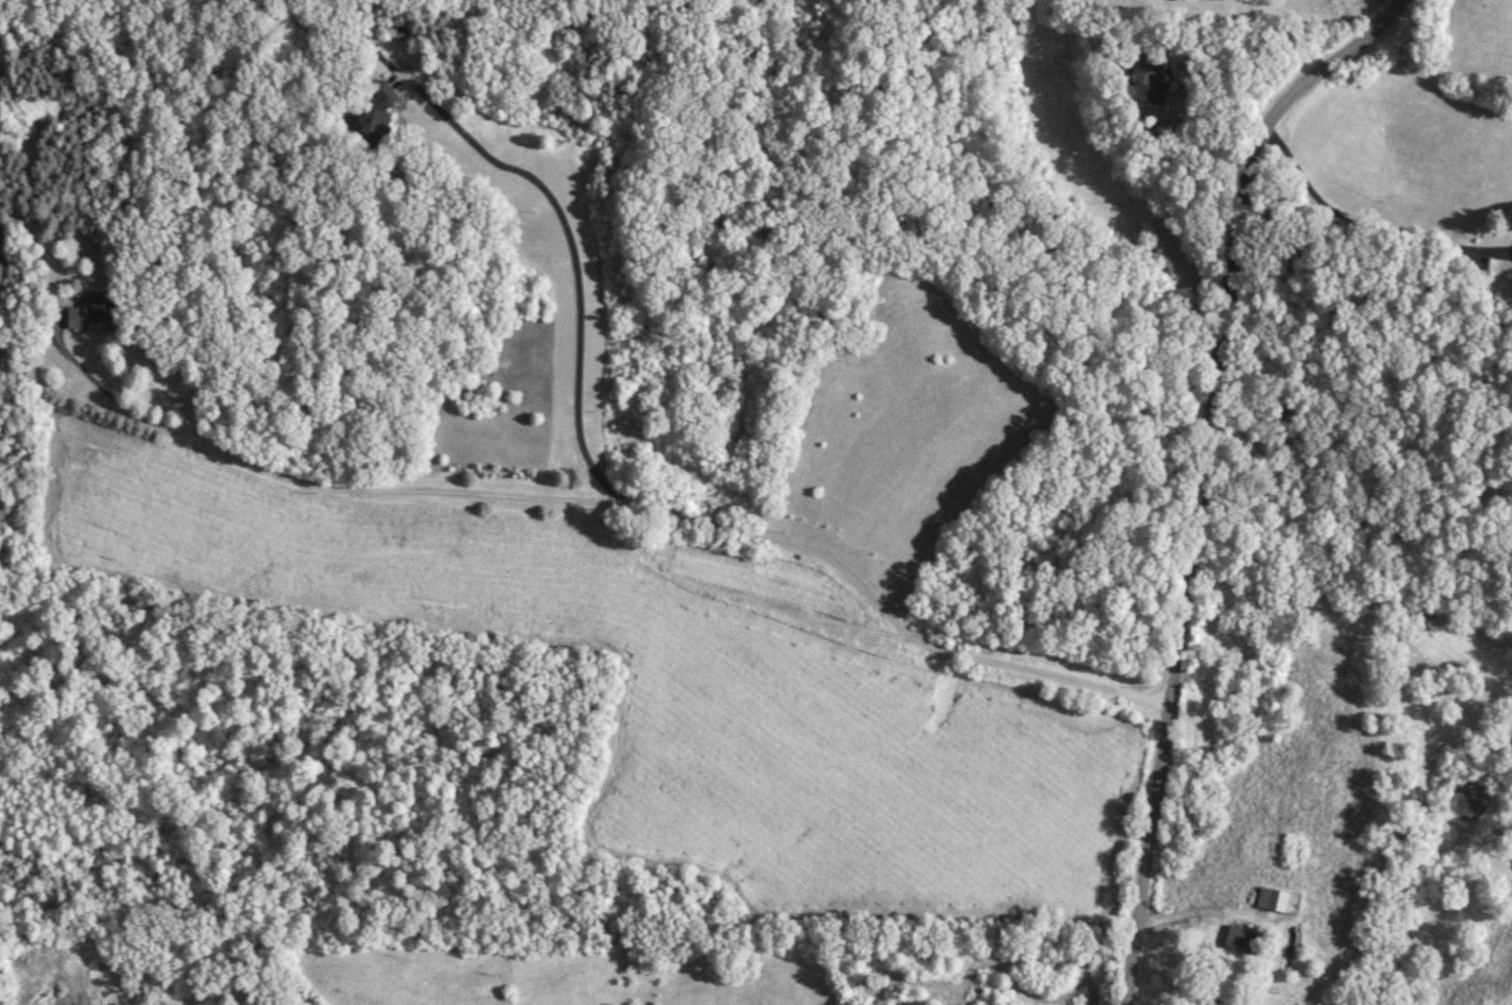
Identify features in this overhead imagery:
building: (1149, 79)
building: (378, 108)
road: (1161, 218)
road: (1356, 222)
building: (2, 246)
road: (39, 262)
road: (576, 263)
building: (95, 314)
road: (1201, 468)
road: (1354, 471)
road: (607, 501)
building: (1279, 899)
building: (1245, 939)
building: (1203, 954)
building: (1214, 998)

